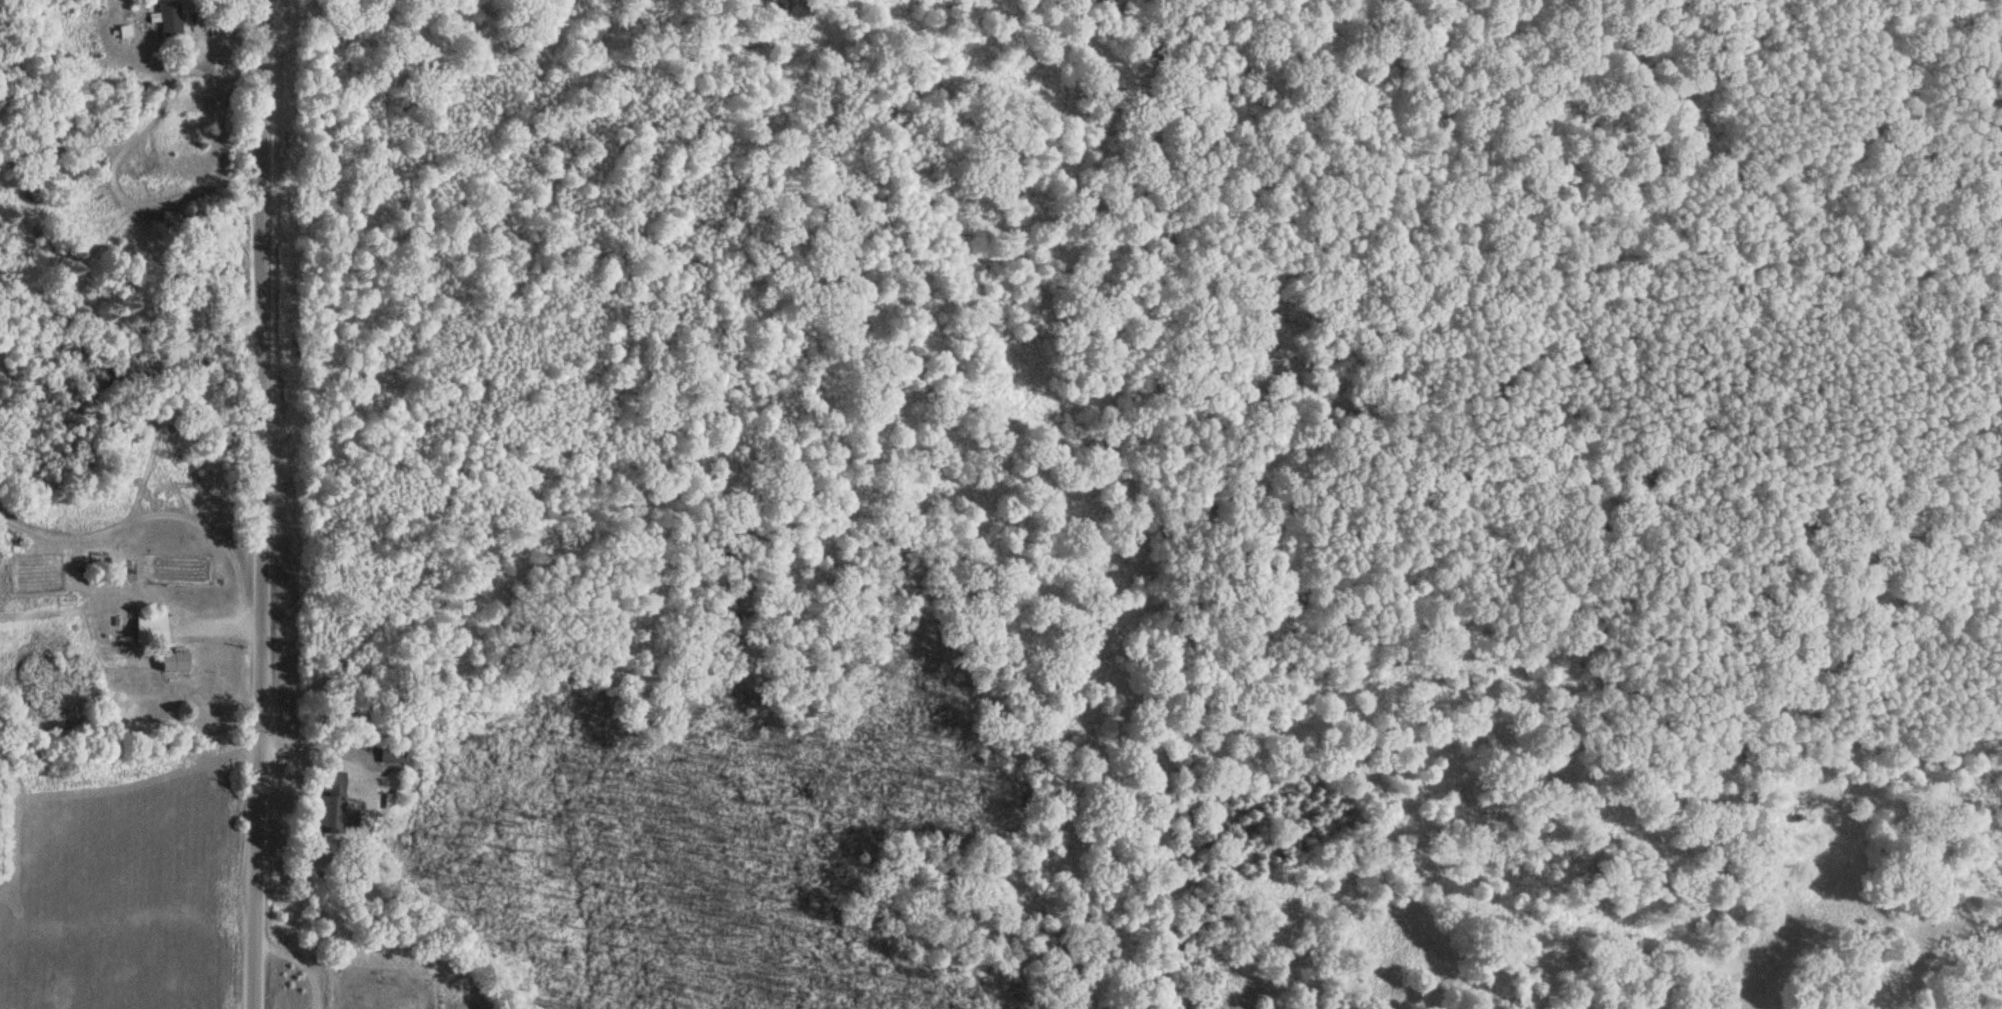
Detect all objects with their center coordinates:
building: (167, 15)
road: (269, 392)
building: (148, 624)
road: (220, 626)
building: (172, 660)
road: (310, 747)
building: (390, 752)
road: (333, 754)
building: (333, 800)
road: (253, 896)

